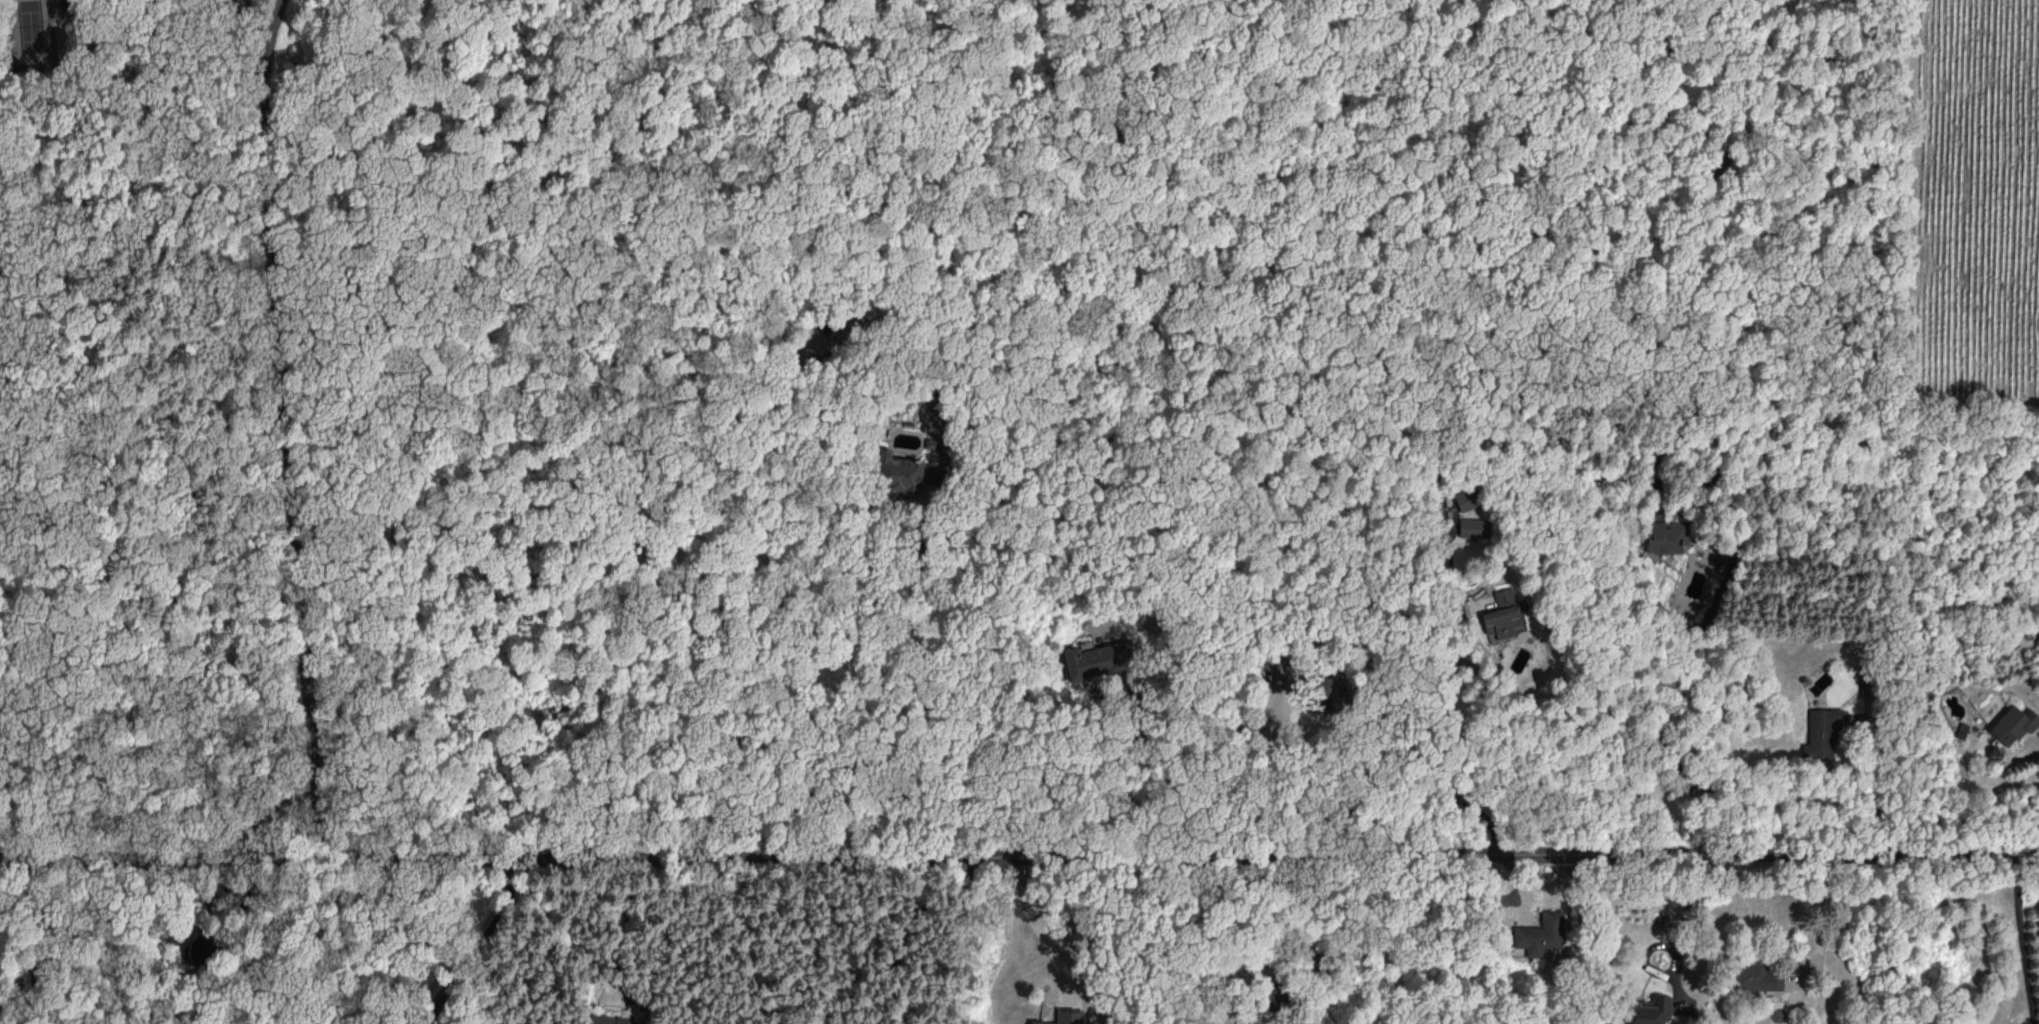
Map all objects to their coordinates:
road: (239, 5)
road: (270, 27)
road: (284, 428)
building: (903, 474)
building: (1665, 538)
building: (1502, 614)
road: (1706, 614)
building: (1098, 659)
road: (920, 661)
building: (1327, 692)
road: (1445, 696)
building: (2014, 724)
building: (1822, 733)
road: (1359, 764)
road: (1162, 769)
road: (1877, 778)
road: (858, 804)
road: (1019, 847)
road: (212, 900)
road: (1026, 912)
road: (1818, 920)
road: (1681, 922)
road: (620, 928)
building: (1540, 932)
road: (1291, 933)
road: (911, 935)
road: (2018, 939)
road: (473, 942)
building: (1755, 977)
building: (1650, 1010)
building: (1065, 1017)
building: (608, 1019)

